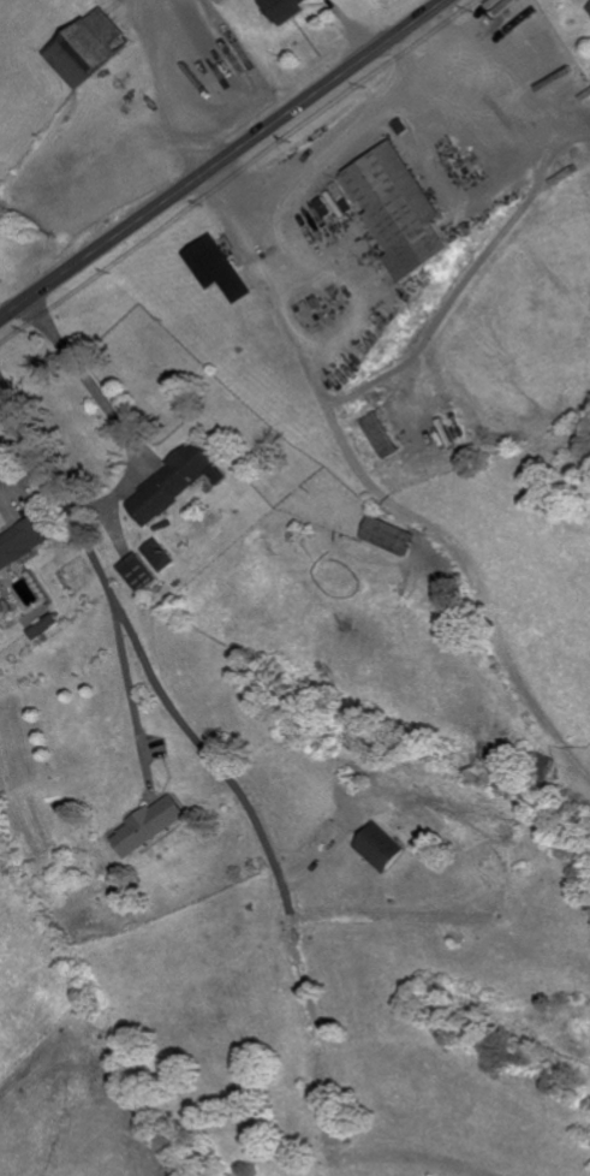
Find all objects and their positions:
building: (285, 10)
building: (547, 37)
building: (91, 48)
road: (346, 148)
road: (224, 159)
building: (401, 210)
building: (217, 268)
road: (87, 382)
building: (380, 435)
building: (178, 485)
building: (393, 537)
building: (22, 544)
building: (162, 557)
building: (142, 575)
building: (536, 765)
building: (150, 826)
building: (382, 847)

